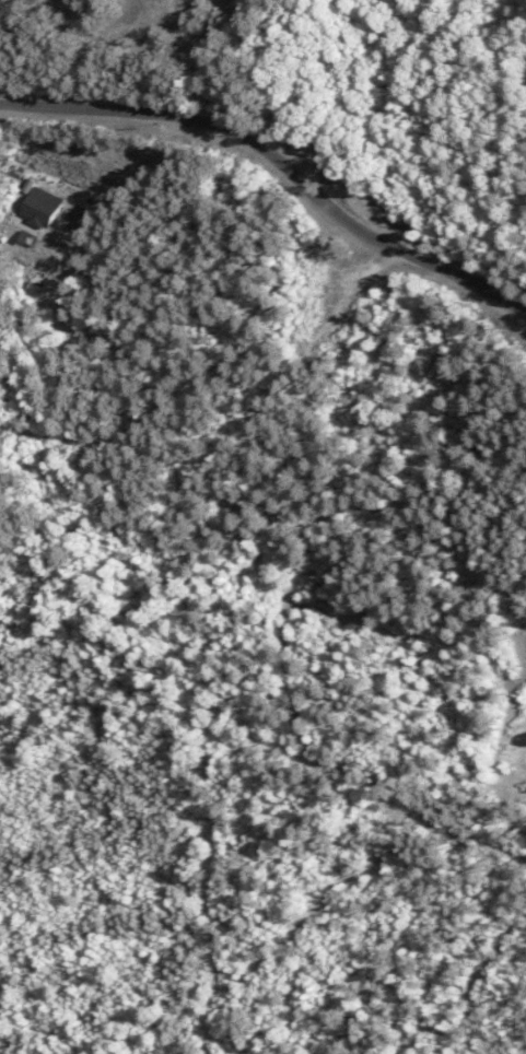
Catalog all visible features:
road: (4, 3)
road: (278, 163)
road: (124, 181)

